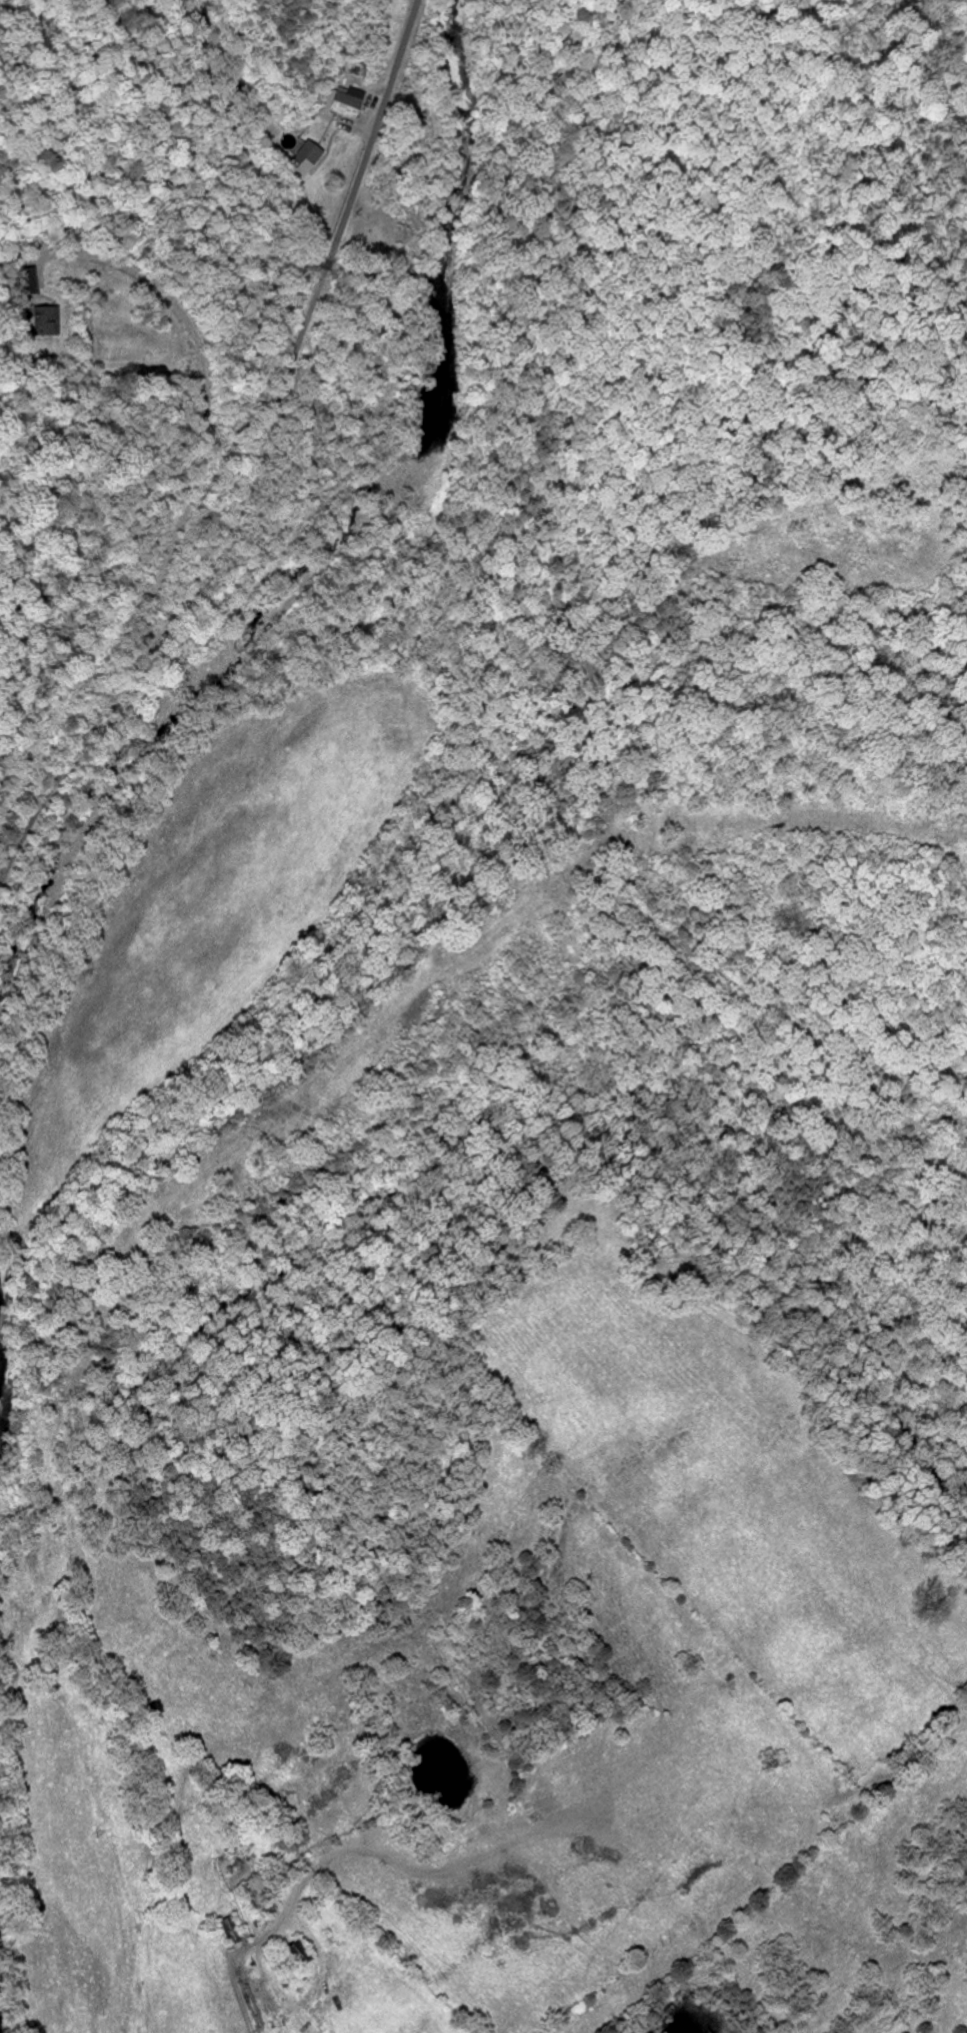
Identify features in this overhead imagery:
building: (347, 102)
building: (303, 162)
building: (27, 281)
building: (42, 320)
road: (207, 404)
road: (255, 464)

